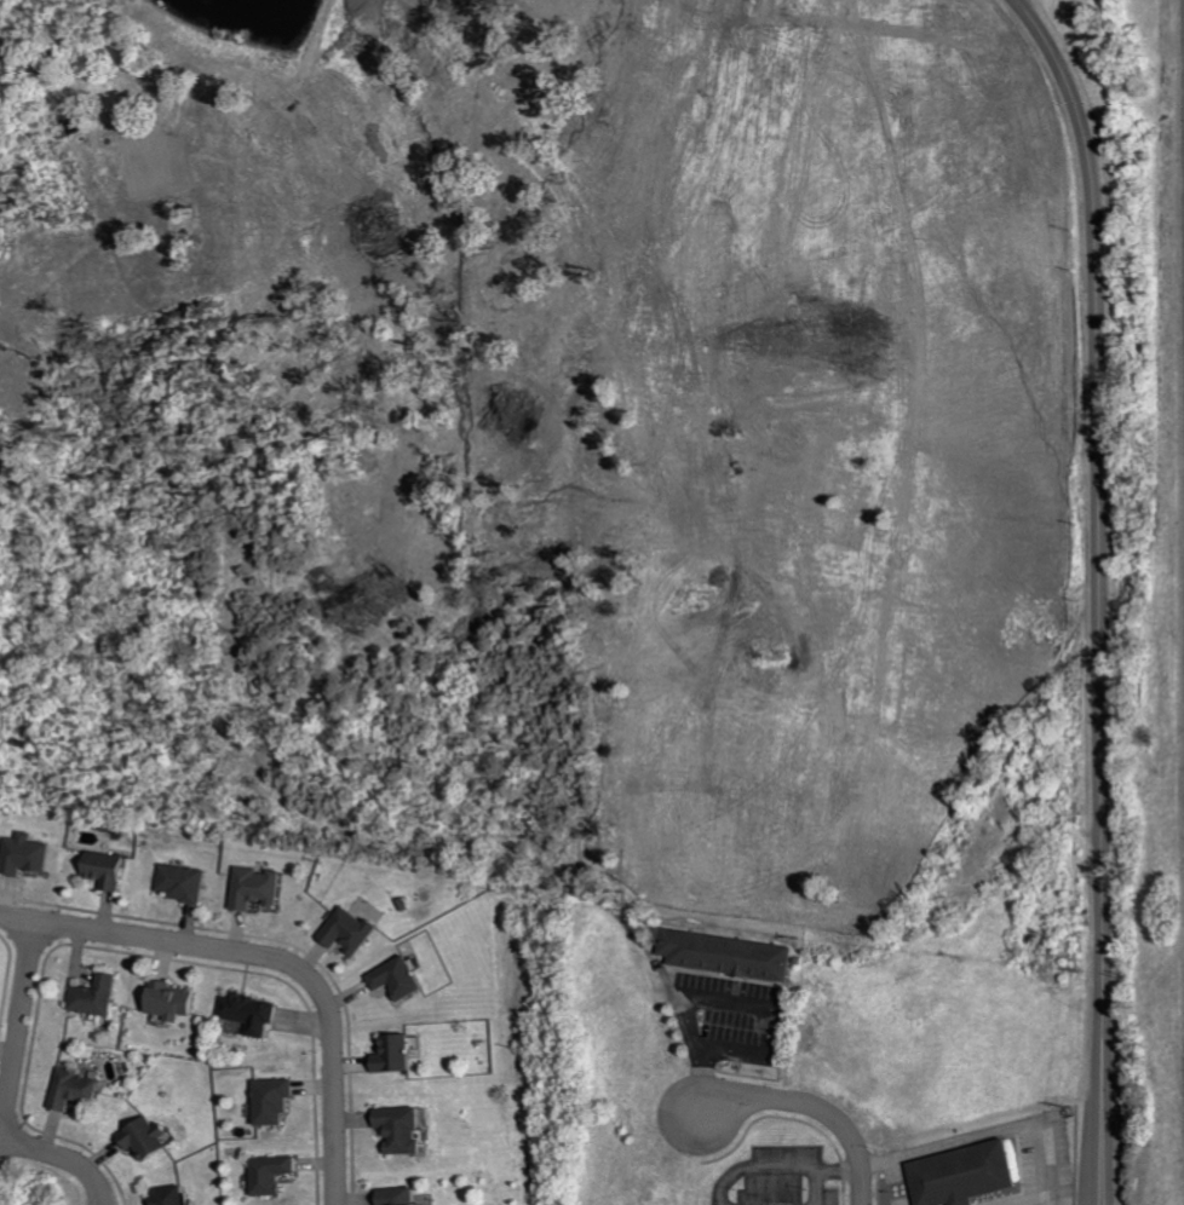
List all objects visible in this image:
road: (1099, 593)
building: (28, 854)
building: (108, 870)
building: (177, 883)
building: (248, 888)
building: (341, 932)
building: (722, 955)
road: (270, 959)
building: (390, 979)
building: (99, 996)
building: (165, 1002)
road: (753, 1004)
road: (13, 1005)
building: (246, 1014)
building: (385, 1055)
road: (697, 1079)
building: (76, 1090)
building: (268, 1101)
road: (807, 1109)
building: (395, 1129)
building: (151, 1140)
road: (64, 1155)
building: (266, 1175)
building: (956, 1175)
building: (176, 1195)
building: (392, 1197)

